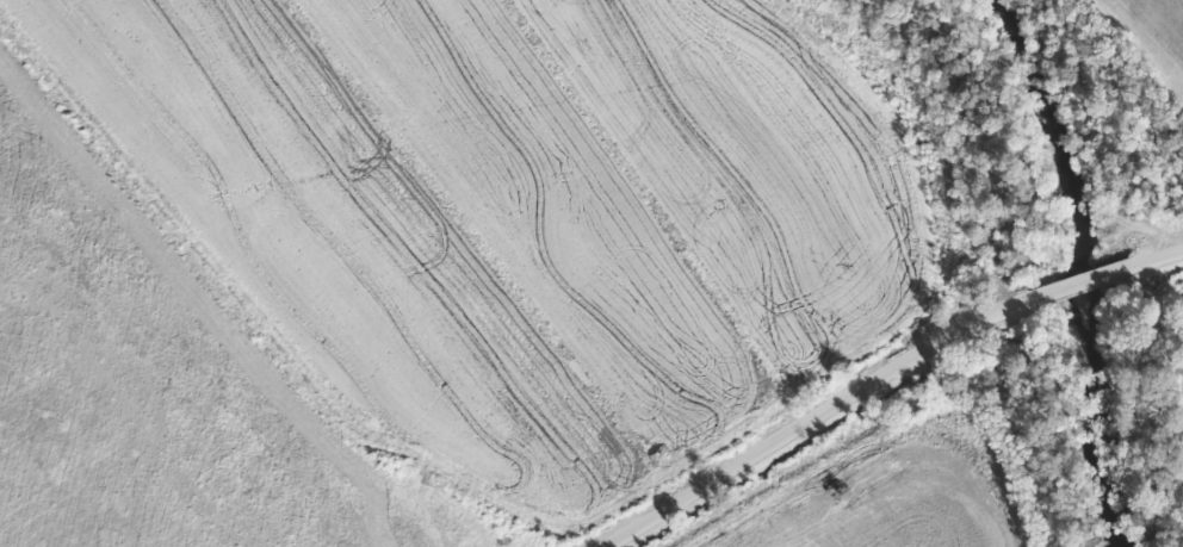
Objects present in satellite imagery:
road: (1158, 261)
road: (1082, 286)
road: (817, 419)

